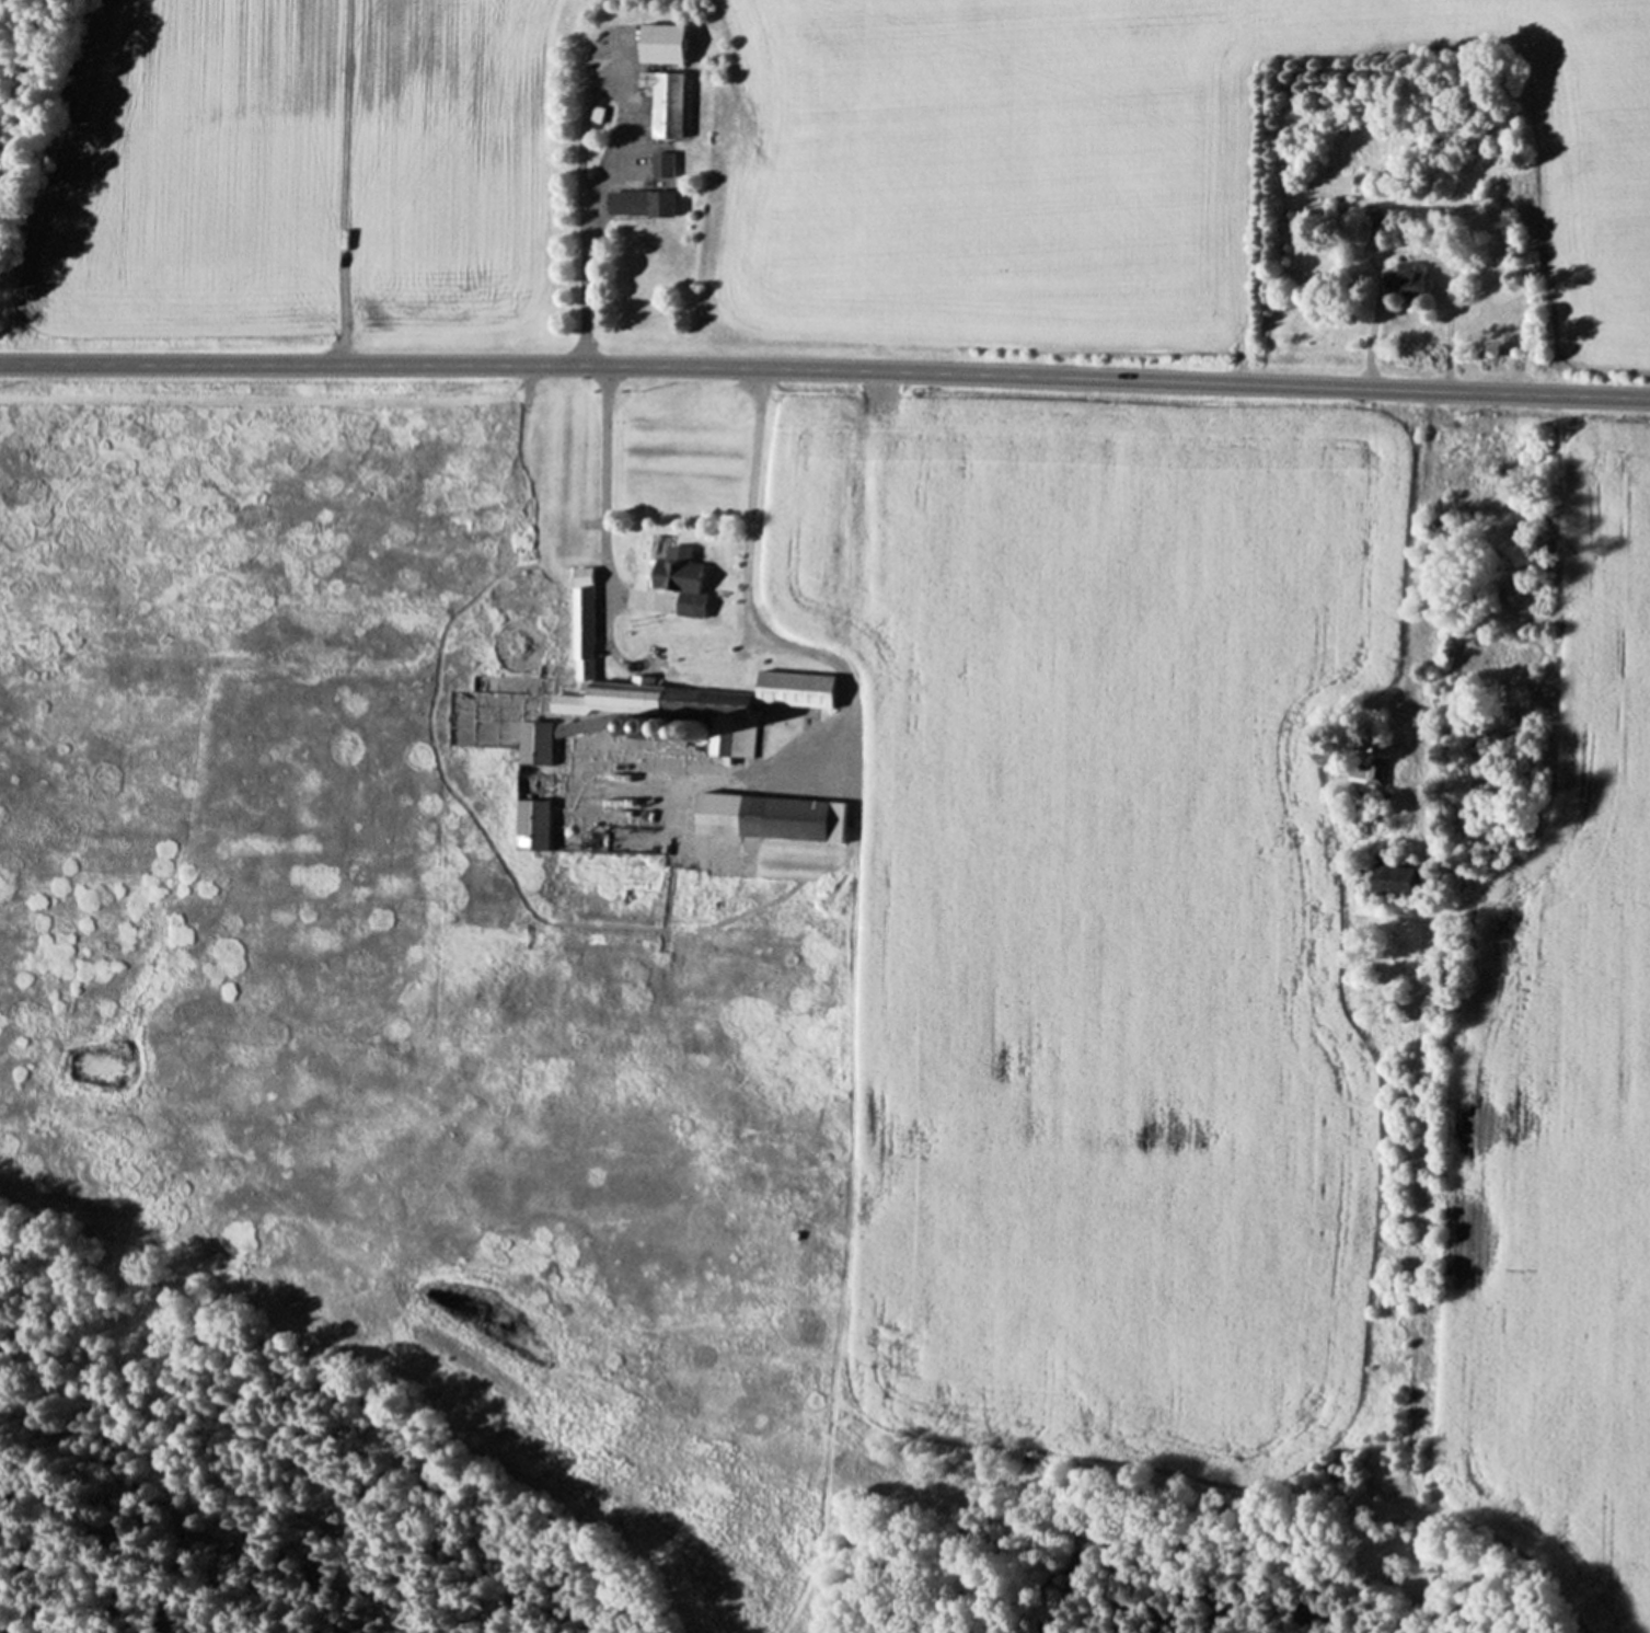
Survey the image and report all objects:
building: (668, 43)
building: (670, 101)
building: (667, 162)
building: (648, 202)
building: (1417, 277)
road: (584, 284)
road: (1373, 341)
road: (824, 368)
road: (605, 496)
road: (750, 501)
building: (688, 579)
building: (780, 591)
building: (643, 714)
building: (1445, 738)
building: (1380, 770)
building: (742, 812)
building: (1408, 879)

